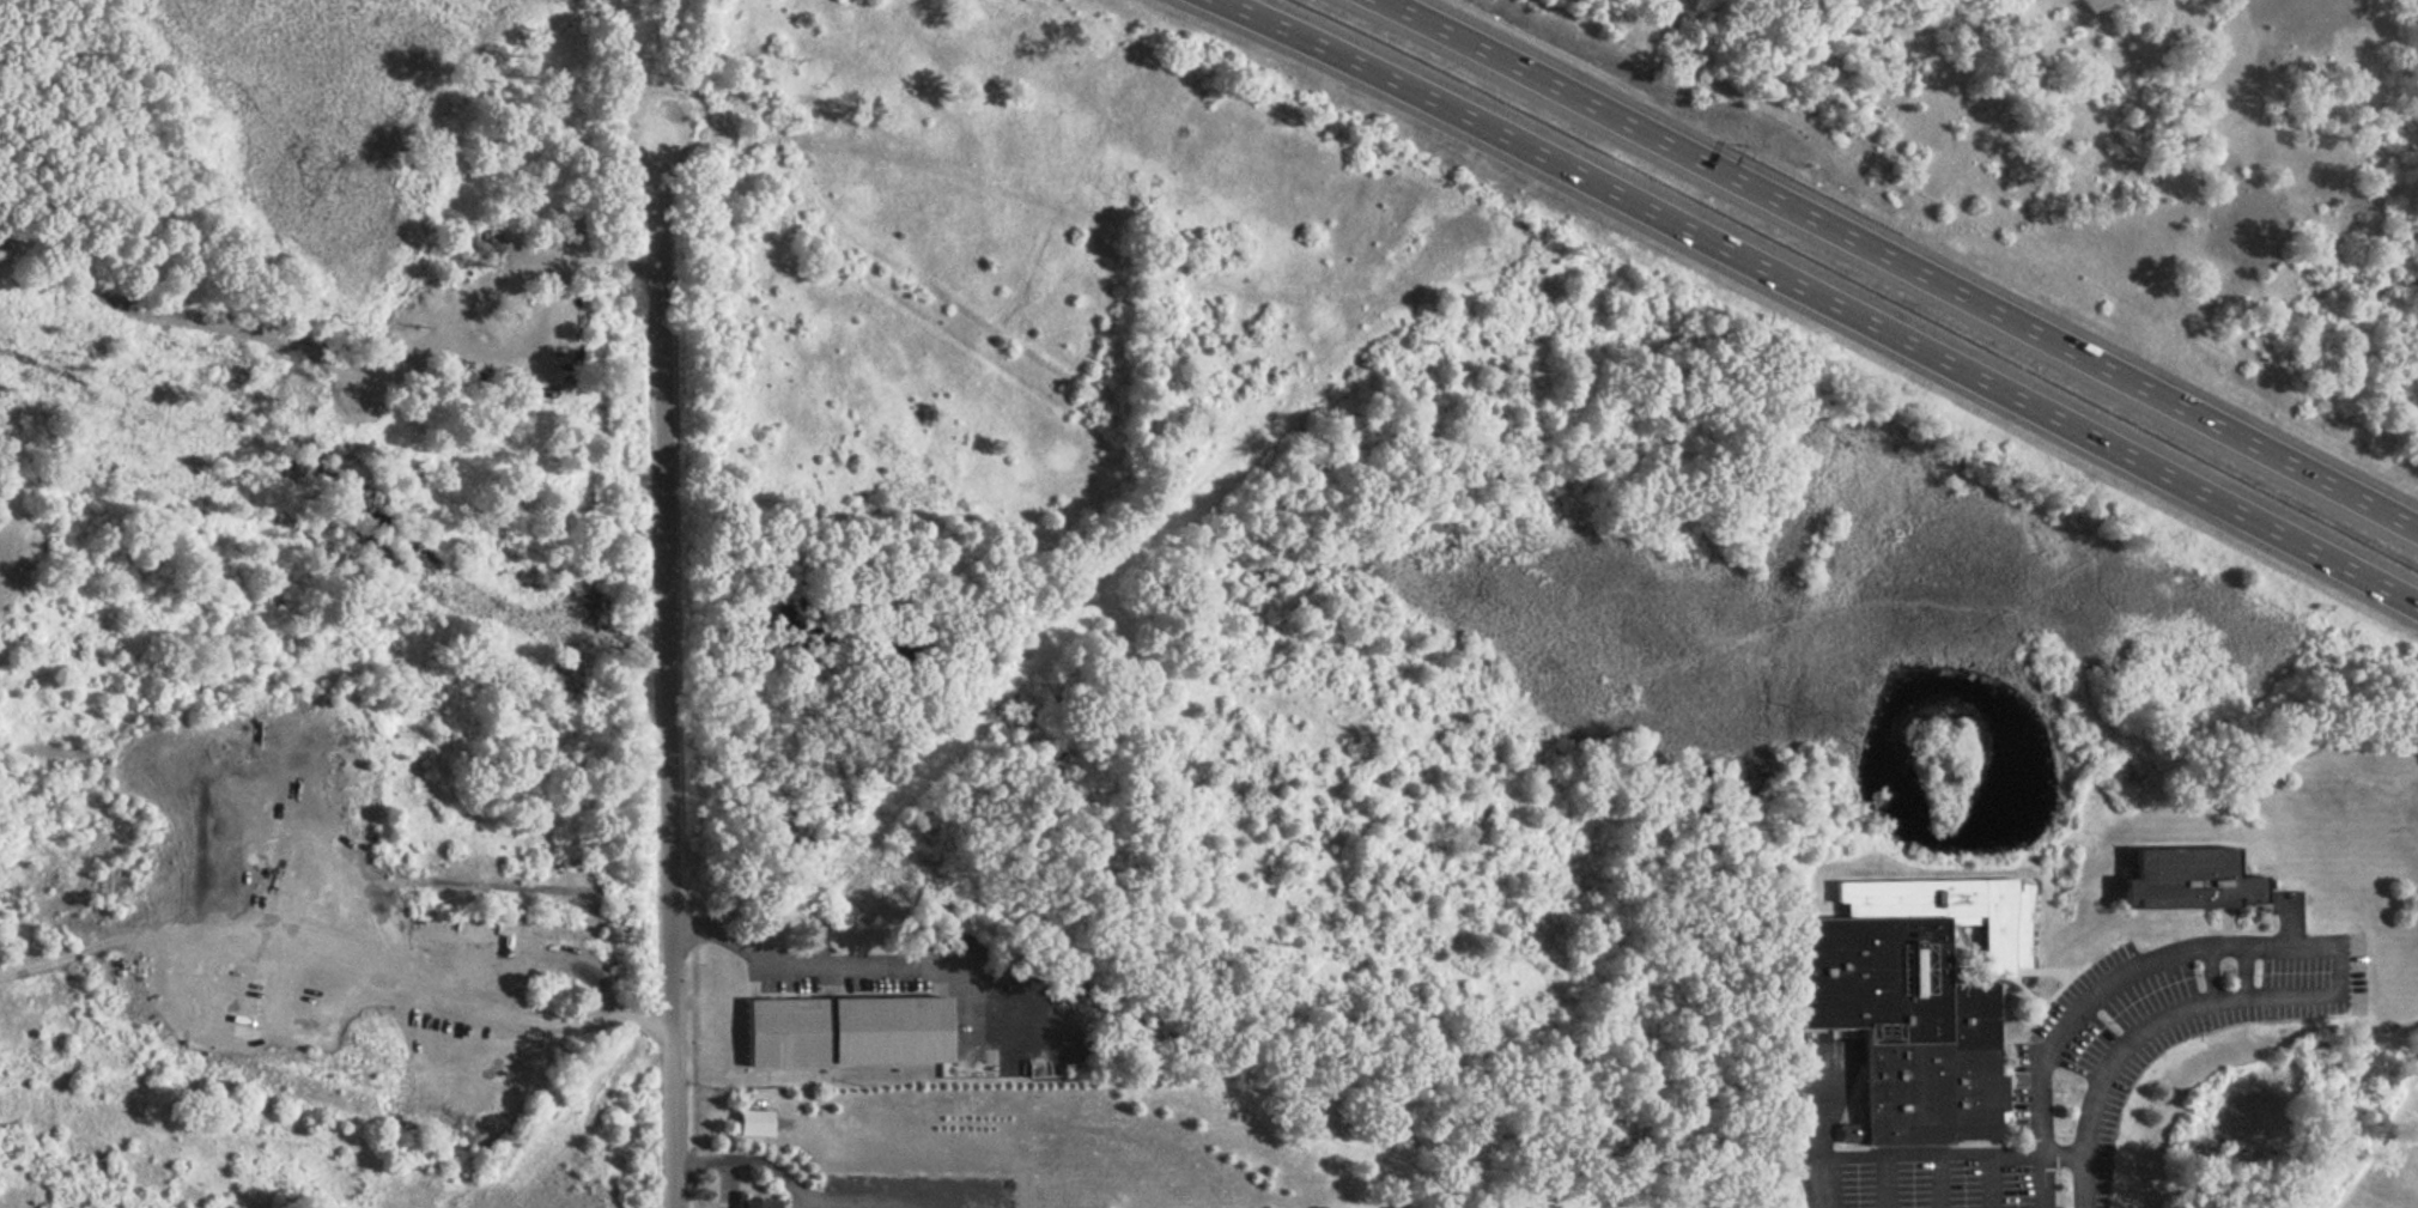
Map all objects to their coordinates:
road: (1828, 223)
road: (1813, 299)
road: (2339, 490)
road: (667, 667)
building: (2188, 880)
road: (797, 963)
road: (2125, 977)
building: (1916, 1000)
road: (2147, 1030)
building: (849, 1033)
building: (755, 1124)
road: (1815, 1142)
road: (1950, 1157)
road: (725, 1180)
road: (1992, 1182)
road: (1883, 1183)
road: (1940, 1183)
road: (796, 1189)
building: (757, 1202)

